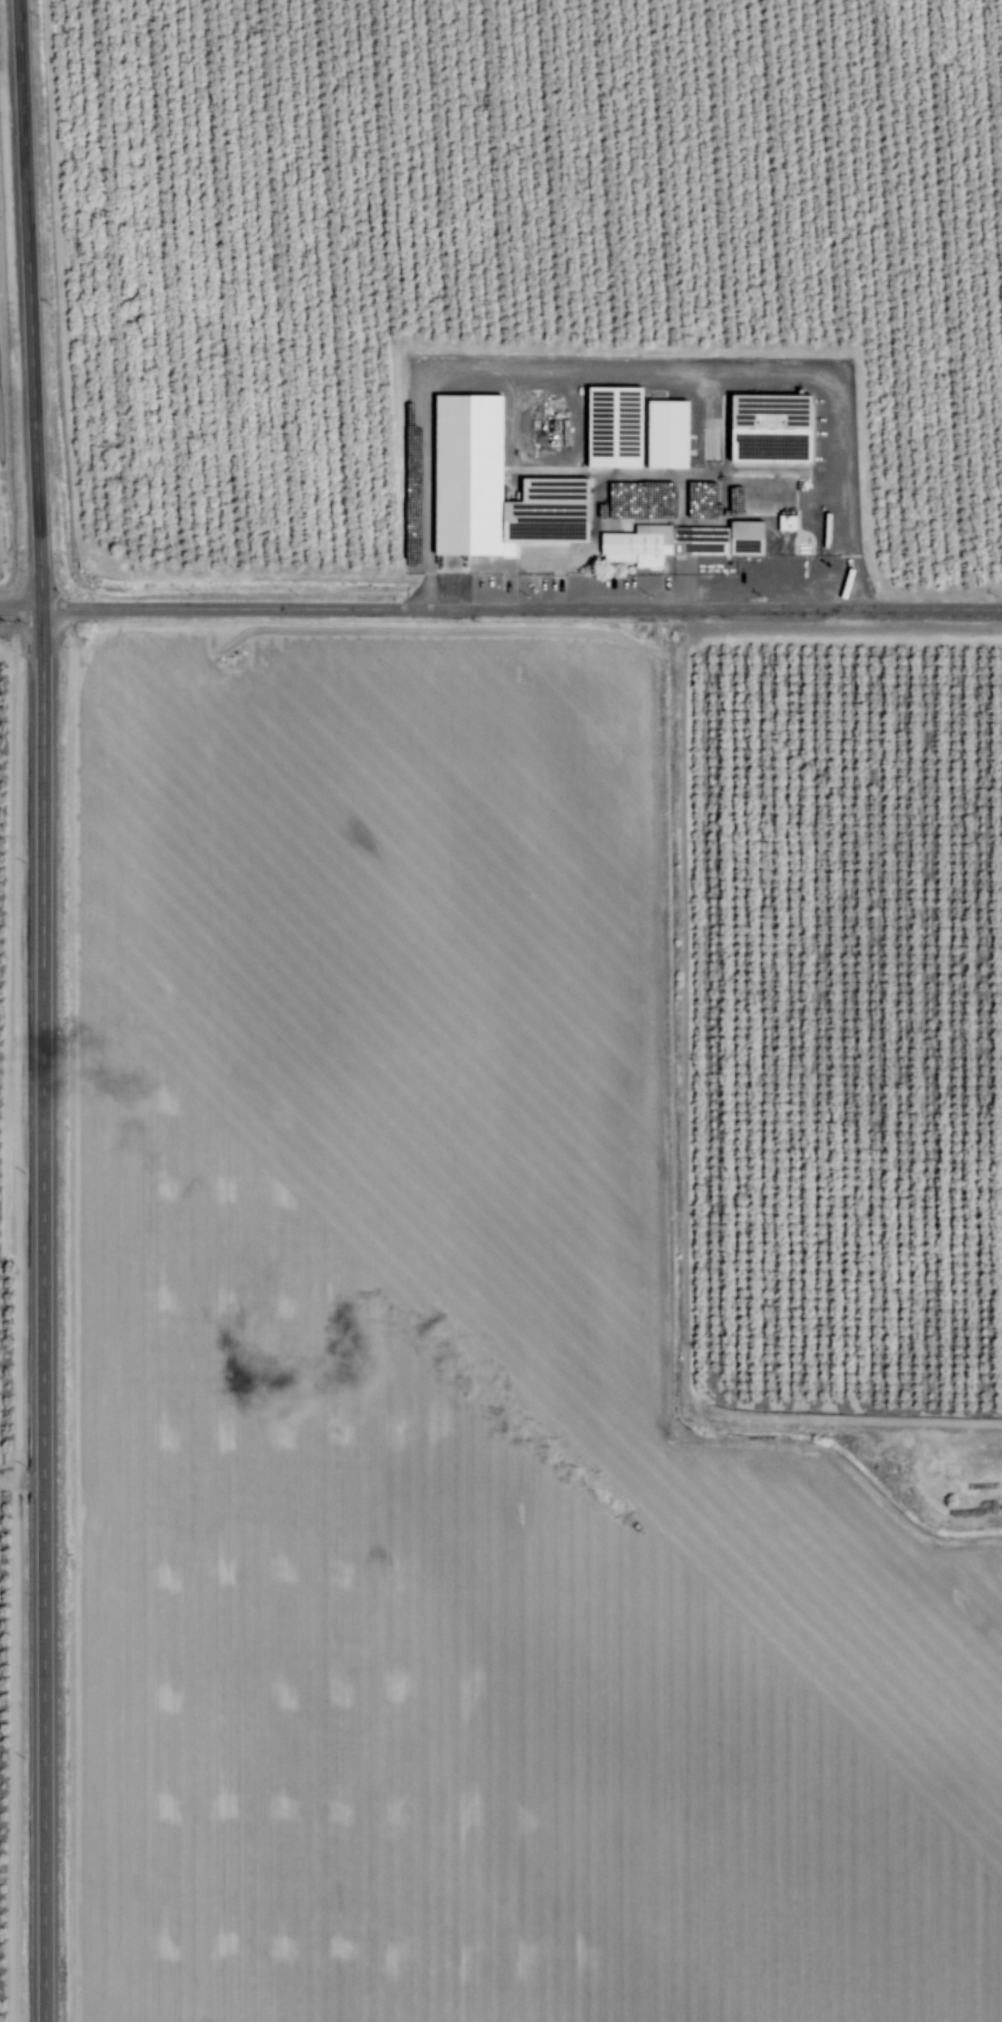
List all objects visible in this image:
building: (764, 429)
building: (630, 430)
building: (488, 487)
building: (783, 523)
building: (677, 543)
road: (500, 607)
road: (41, 1010)

